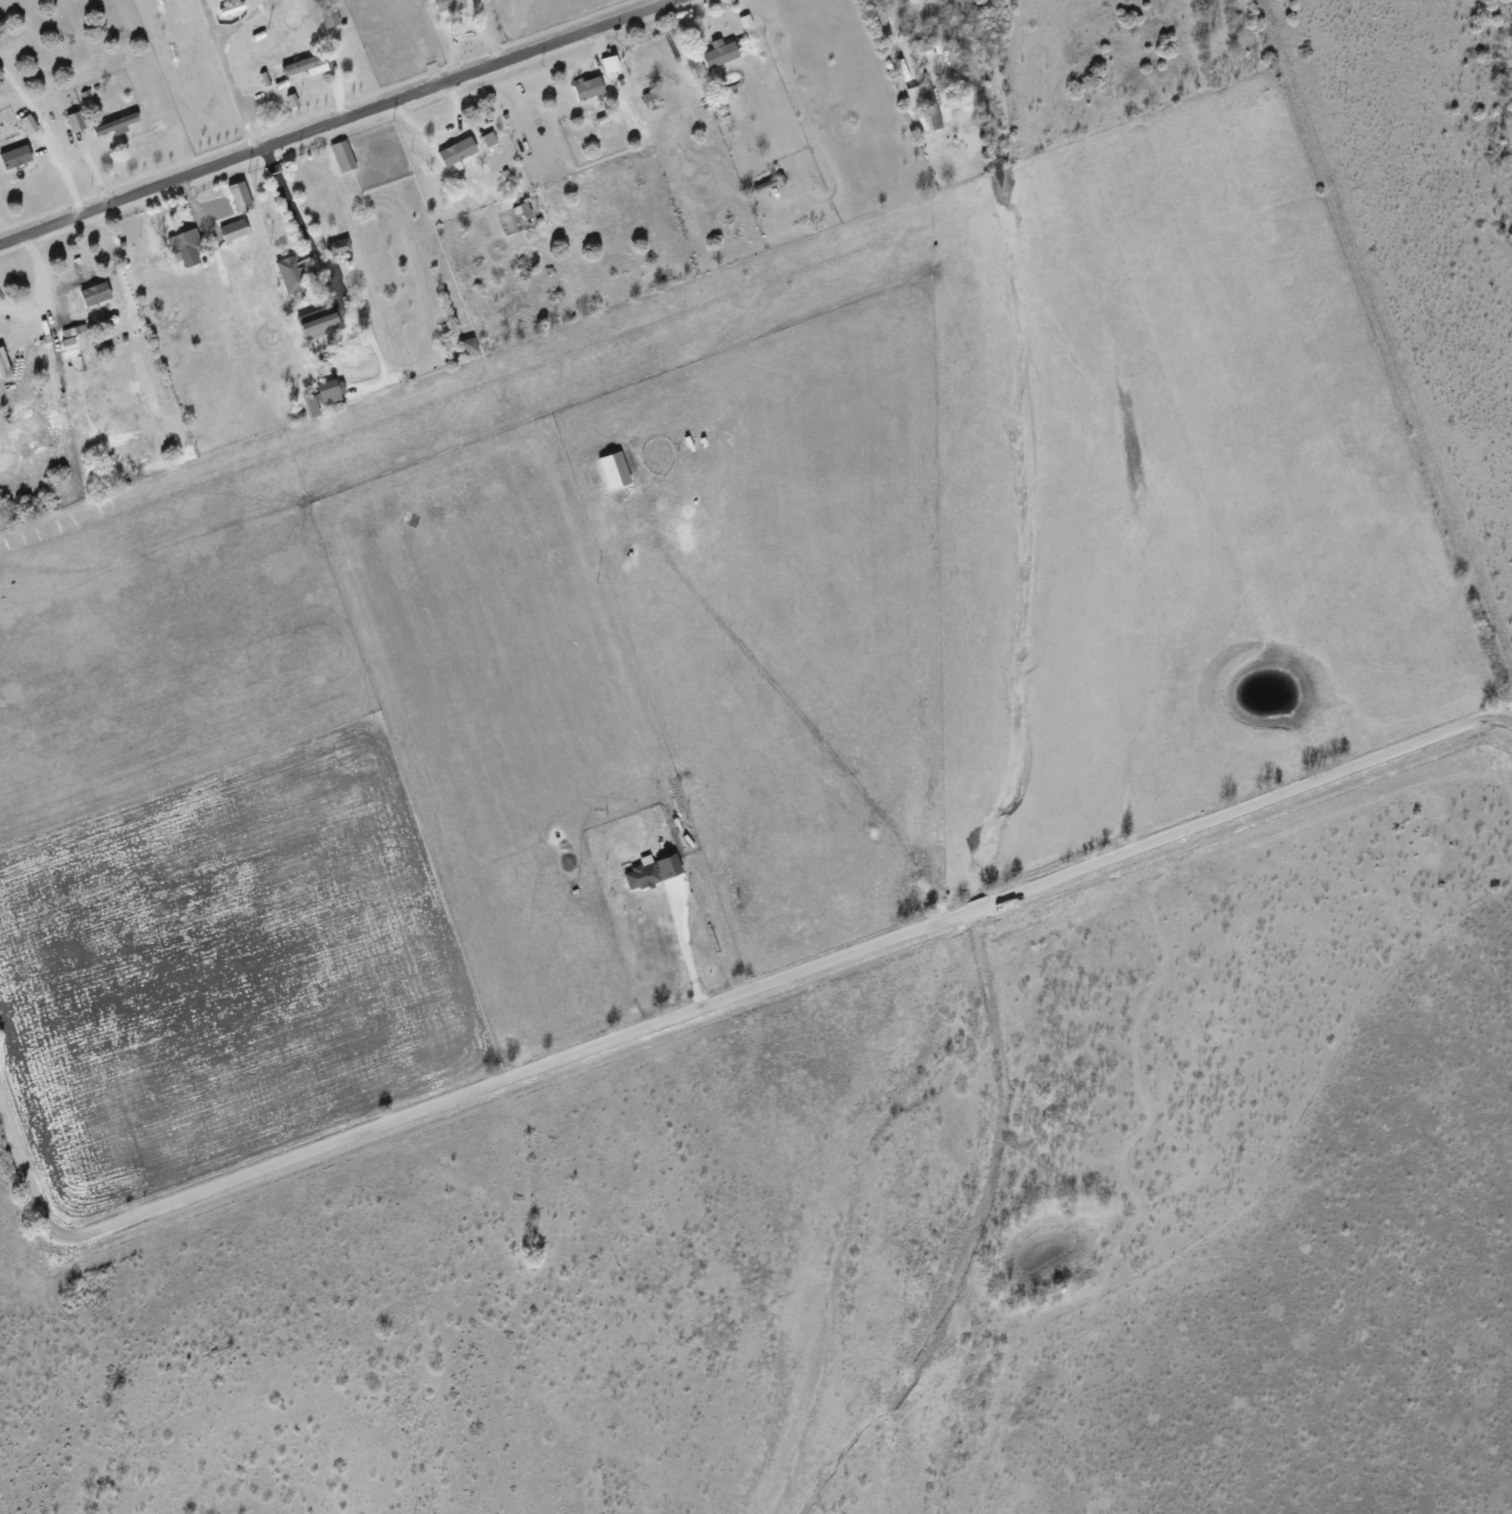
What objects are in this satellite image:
road: (669, 1)
building: (448, 5)
building: (330, 17)
road: (896, 35)
building: (720, 53)
building: (611, 64)
building: (307, 65)
road: (227, 67)
building: (589, 88)
building: (929, 105)
building: (75, 121)
road: (337, 121)
building: (29, 124)
building: (116, 125)
road: (48, 138)
building: (489, 139)
building: (458, 151)
building: (343, 156)
building: (16, 157)
building: (240, 196)
road: (292, 211)
building: (234, 230)
building: (187, 247)
building: (339, 247)
building: (292, 274)
road: (43, 287)
building: (96, 294)
building: (320, 326)
building: (71, 336)
building: (470, 346)
building: (331, 390)
building: (311, 406)
building: (615, 469)
building: (649, 872)
road: (682, 947)
road: (715, 1000)

